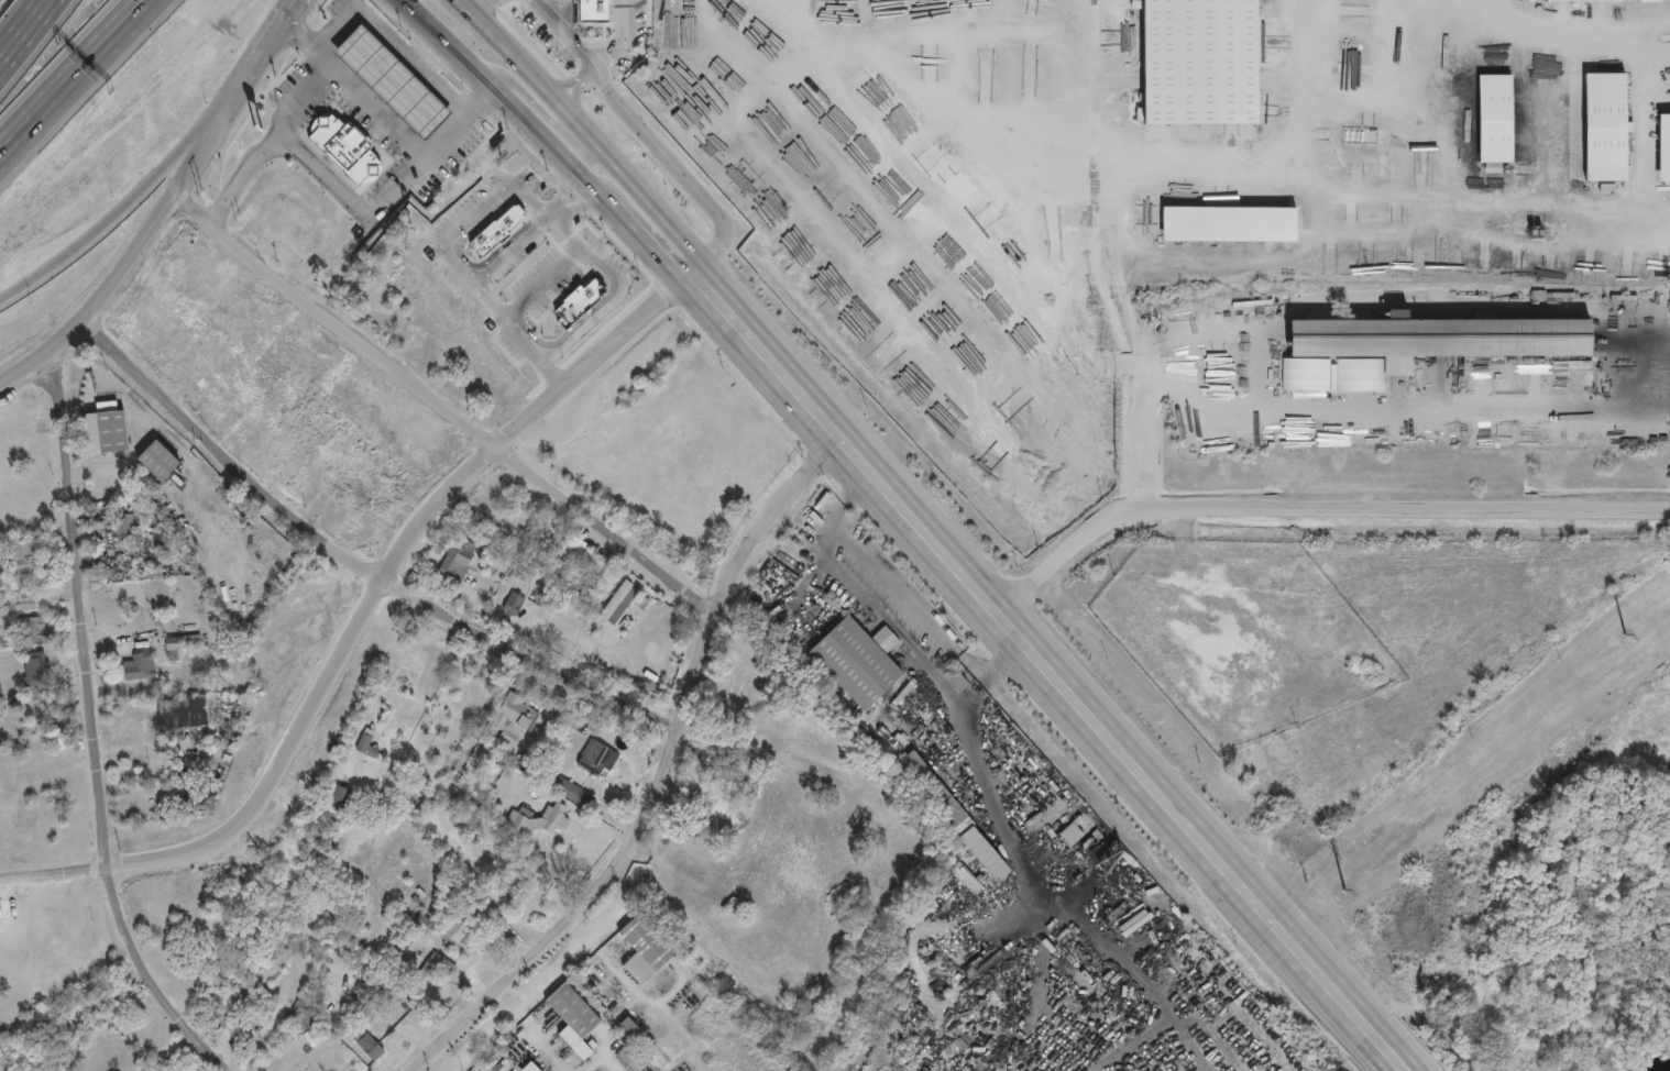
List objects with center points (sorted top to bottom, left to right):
building: (1586, 0)
building: (1650, 0)
road: (464, 8)
road: (480, 8)
road: (556, 9)
building: (592, 10)
building: (625, 13)
road: (1573, 25)
road: (22, 30)
road: (438, 37)
road: (622, 38)
road: (505, 46)
building: (1199, 60)
road: (586, 69)
road: (61, 71)
road: (78, 77)
road: (581, 77)
building: (393, 81)
road: (487, 86)
road: (353, 91)
road: (297, 95)
road: (545, 112)
building: (1494, 118)
road: (457, 124)
road: (642, 124)
building: (1605, 126)
road: (539, 134)
building: (1663, 147)
building: (345, 148)
road: (1270, 153)
road: (240, 178)
road: (589, 181)
road: (639, 186)
road: (1107, 187)
road: (140, 188)
road: (562, 194)
road: (348, 200)
road: (164, 201)
road: (574, 207)
building: (1229, 222)
road: (450, 235)
road: (509, 250)
road: (653, 253)
building: (193, 264)
road: (603, 302)
building: (1440, 336)
road: (553, 375)
road: (438, 406)
road: (1332, 413)
building: (103, 429)
building: (158, 460)
building: (314, 478)
road: (1310, 506)
building: (122, 527)
building: (24, 555)
road: (354, 557)
building: (458, 561)
road: (902, 596)
building: (619, 597)
building: (514, 603)
road: (365, 610)
building: (33, 628)
power tower: (1626, 634)
building: (183, 640)
road: (397, 658)
building: (857, 660)
building: (139, 665)
building: (36, 669)
road: (1034, 669)
building: (182, 710)
building: (512, 721)
road: (91, 725)
building: (367, 743)
building: (597, 759)
building: (741, 770)
road: (660, 775)
building: (571, 791)
building: (339, 795)
building: (954, 815)
building: (539, 818)
building: (1070, 832)
power tower: (1344, 890)
building: (424, 923)
building: (463, 931)
building: (644, 948)
building: (596, 979)
road: (536, 985)
building: (239, 991)
building: (573, 1017)
building: (628, 1026)
road: (534, 1028)
building: (253, 1029)
building: (367, 1044)
road: (1375, 1049)
building: (630, 1057)
road: (601, 1058)
road: (443, 1060)
building: (530, 1067)

